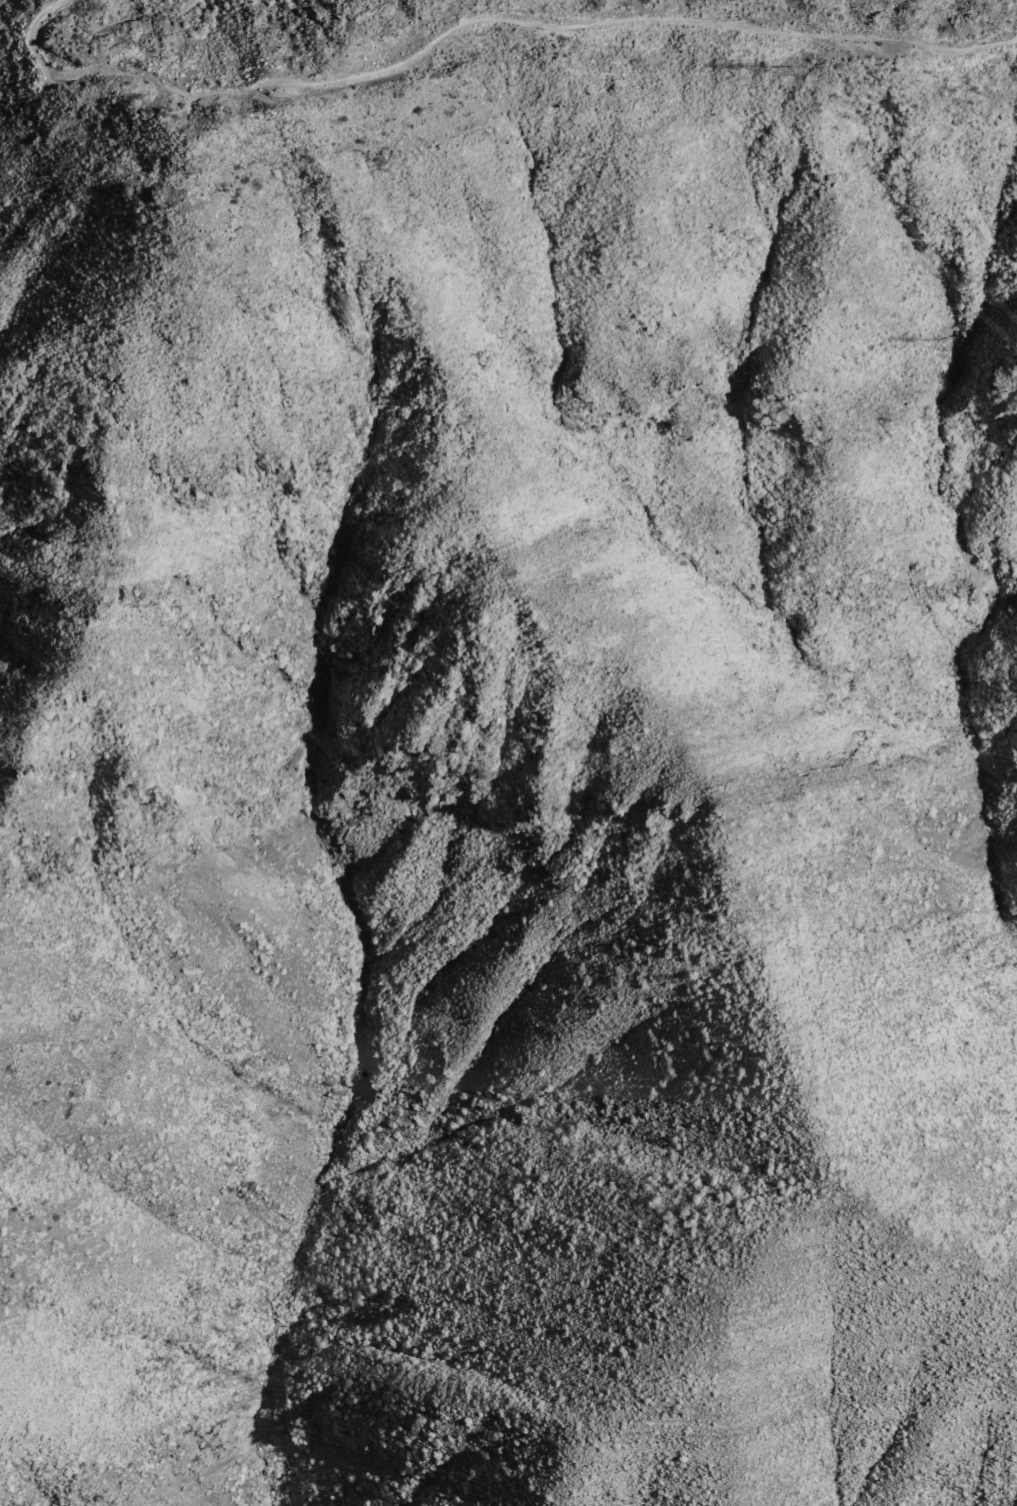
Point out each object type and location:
road: (470, 23)
power tower: (785, 71)

